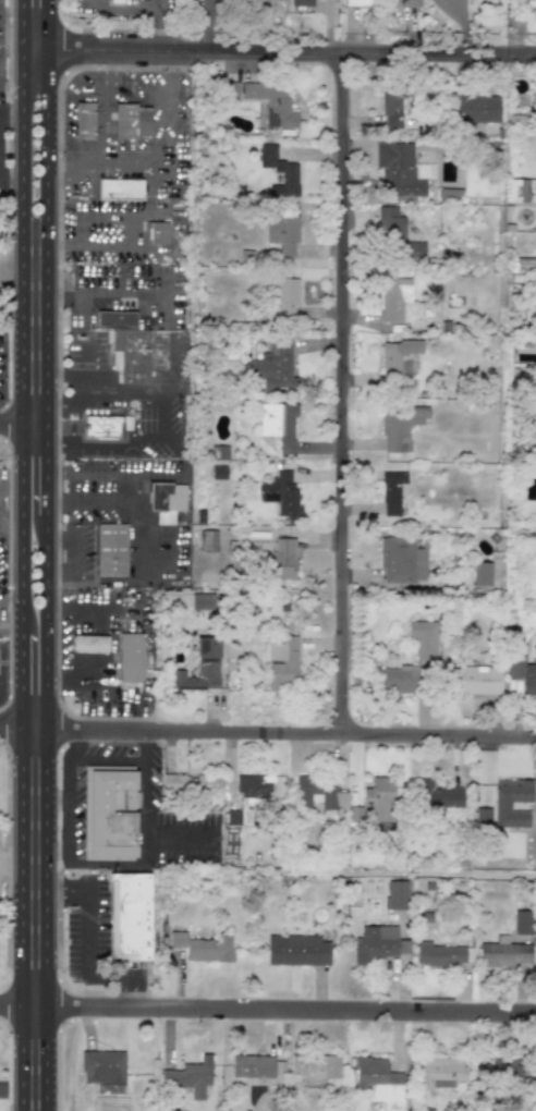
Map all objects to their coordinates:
building: (115, 1)
building: (301, 2)
building: (482, 2)
building: (356, 3)
building: (407, 3)
road: (153, 5)
road: (118, 10)
road: (151, 30)
road: (279, 52)
road: (23, 72)
building: (228, 90)
building: (271, 103)
building: (392, 106)
road: (11, 110)
building: (83, 120)
building: (131, 121)
building: (397, 169)
building: (289, 176)
building: (119, 188)
building: (522, 190)
road: (9, 206)
building: (161, 232)
building: (281, 232)
building: (395, 233)
road: (23, 265)
building: (525, 265)
road: (90, 294)
building: (284, 295)
building: (398, 301)
building: (114, 319)
road: (23, 340)
building: (132, 354)
building: (397, 356)
road: (173, 362)
building: (272, 365)
road: (57, 375)
road: (74, 387)
road: (111, 387)
road: (348, 392)
road: (24, 424)
building: (278, 425)
building: (399, 426)
building: (100, 427)
building: (534, 440)
road: (138, 445)
road: (11, 479)
road: (121, 489)
building: (392, 491)
building: (280, 495)
building: (166, 500)
road: (77, 532)
road: (11, 534)
building: (208, 540)
building: (110, 549)
road: (133, 552)
road: (22, 554)
road: (47, 554)
building: (283, 558)
building: (401, 560)
building: (482, 573)
road: (62, 574)
building: (202, 601)
road: (112, 637)
building: (423, 638)
building: (88, 644)
building: (130, 657)
building: (281, 662)
building: (200, 667)
building: (522, 669)
building: (397, 680)
building: (475, 680)
road: (23, 720)
road: (291, 731)
road: (64, 744)
road: (141, 744)
road: (102, 758)
building: (183, 784)
building: (254, 785)
building: (318, 792)
building: (438, 795)
building: (379, 798)
building: (501, 806)
road: (63, 809)
building: (109, 813)
building: (232, 816)
building: (482, 817)
road: (142, 835)
road: (105, 863)
building: (395, 895)
building: (129, 916)
building: (523, 921)
road: (98, 941)
building: (379, 943)
building: (203, 947)
building: (296, 950)
building: (504, 953)
building: (441, 954)
road: (267, 1008)
building: (255, 1065)
building: (102, 1066)
building: (315, 1067)
building: (507, 1067)
building: (438, 1071)
building: (188, 1076)
building: (379, 1082)
road: (11, 1086)

